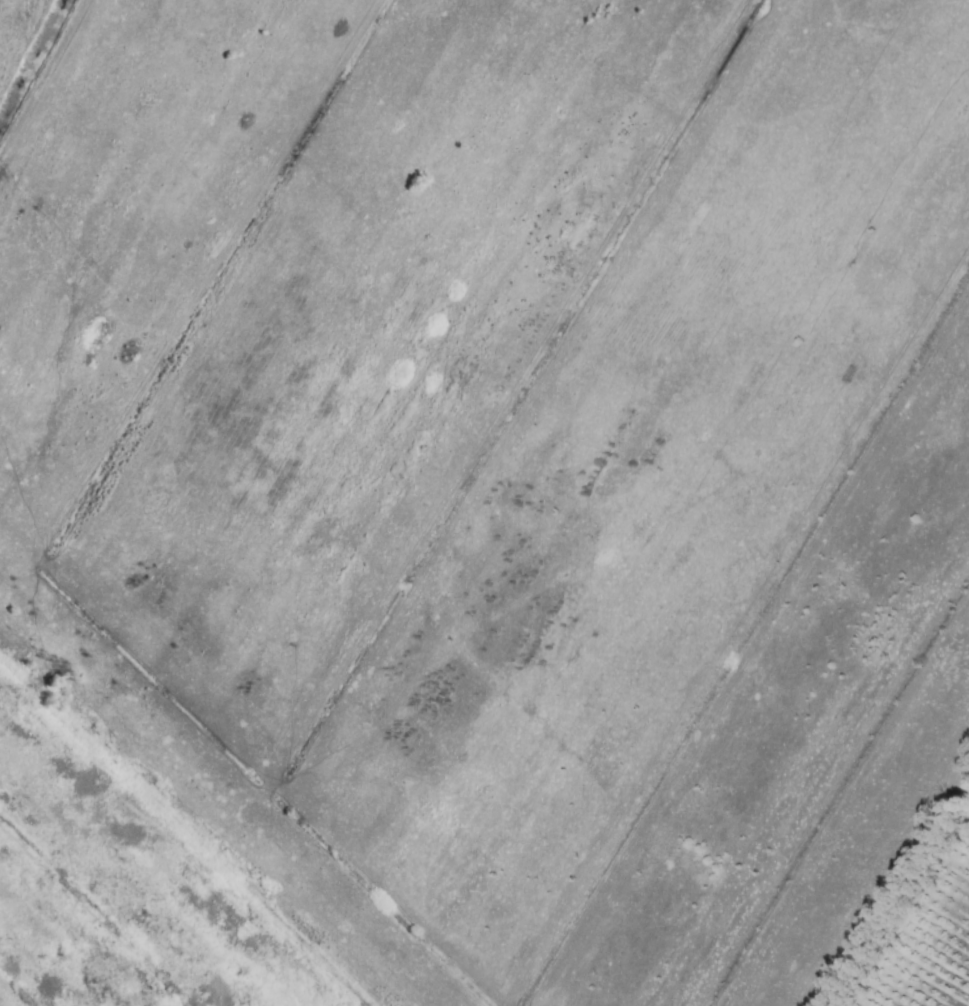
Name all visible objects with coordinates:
crop: (484, 503)

